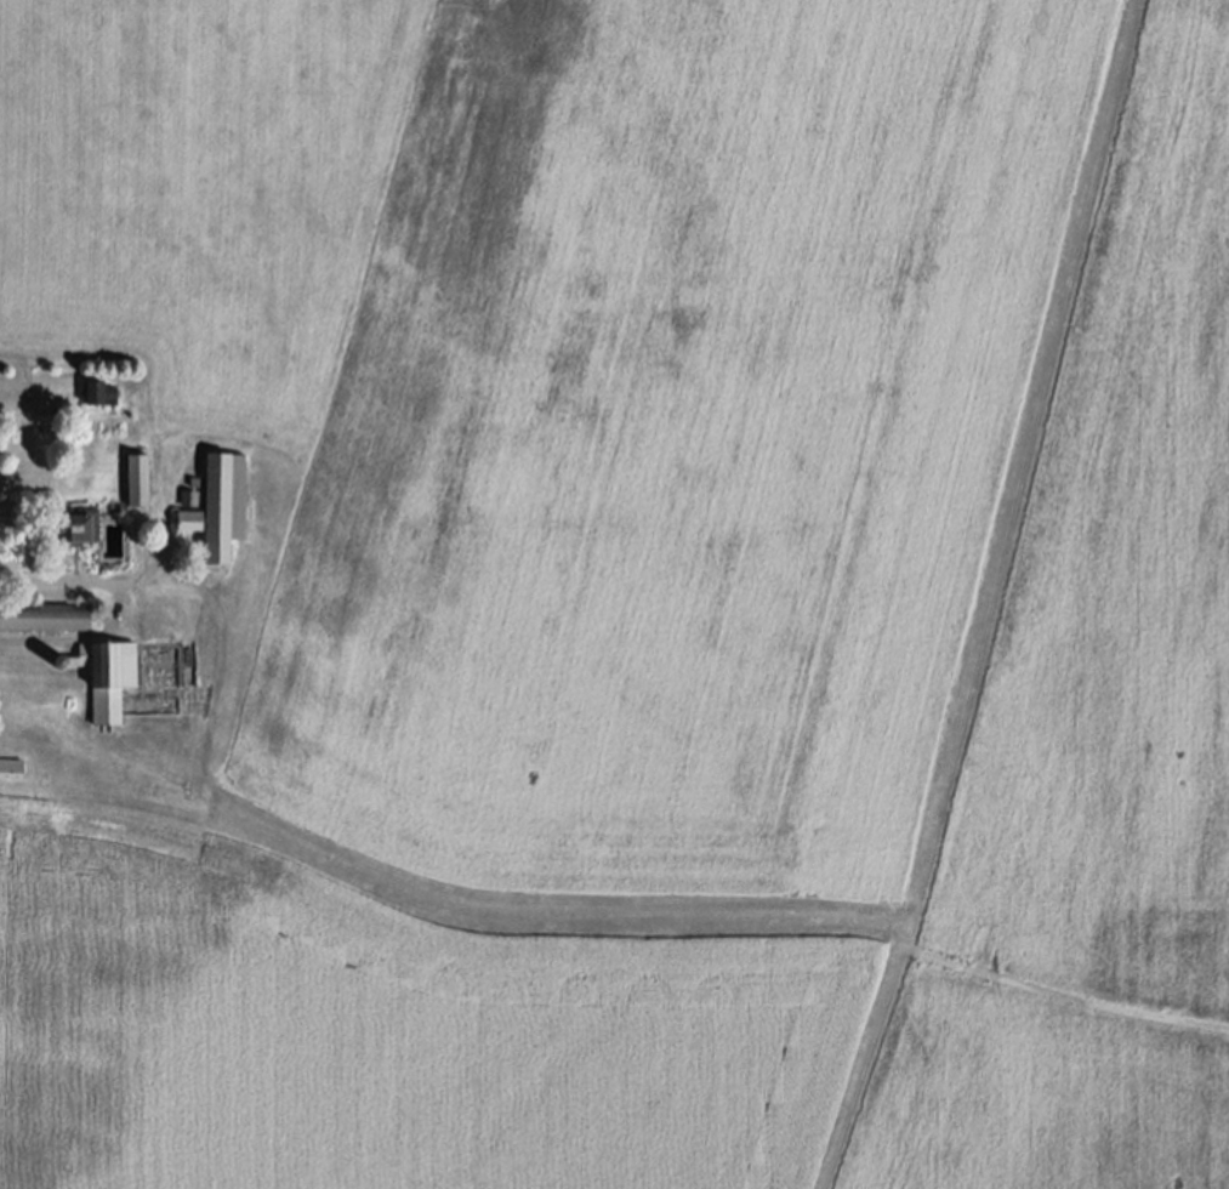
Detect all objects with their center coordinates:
building: (98, 391)
road: (46, 410)
airport runway: (960, 450)
building: (138, 478)
building: (195, 480)
building: (189, 496)
building: (223, 502)
building: (189, 517)
building: (80, 523)
road: (75, 582)
building: (44, 616)
building: (106, 675)
building: (10, 766)

